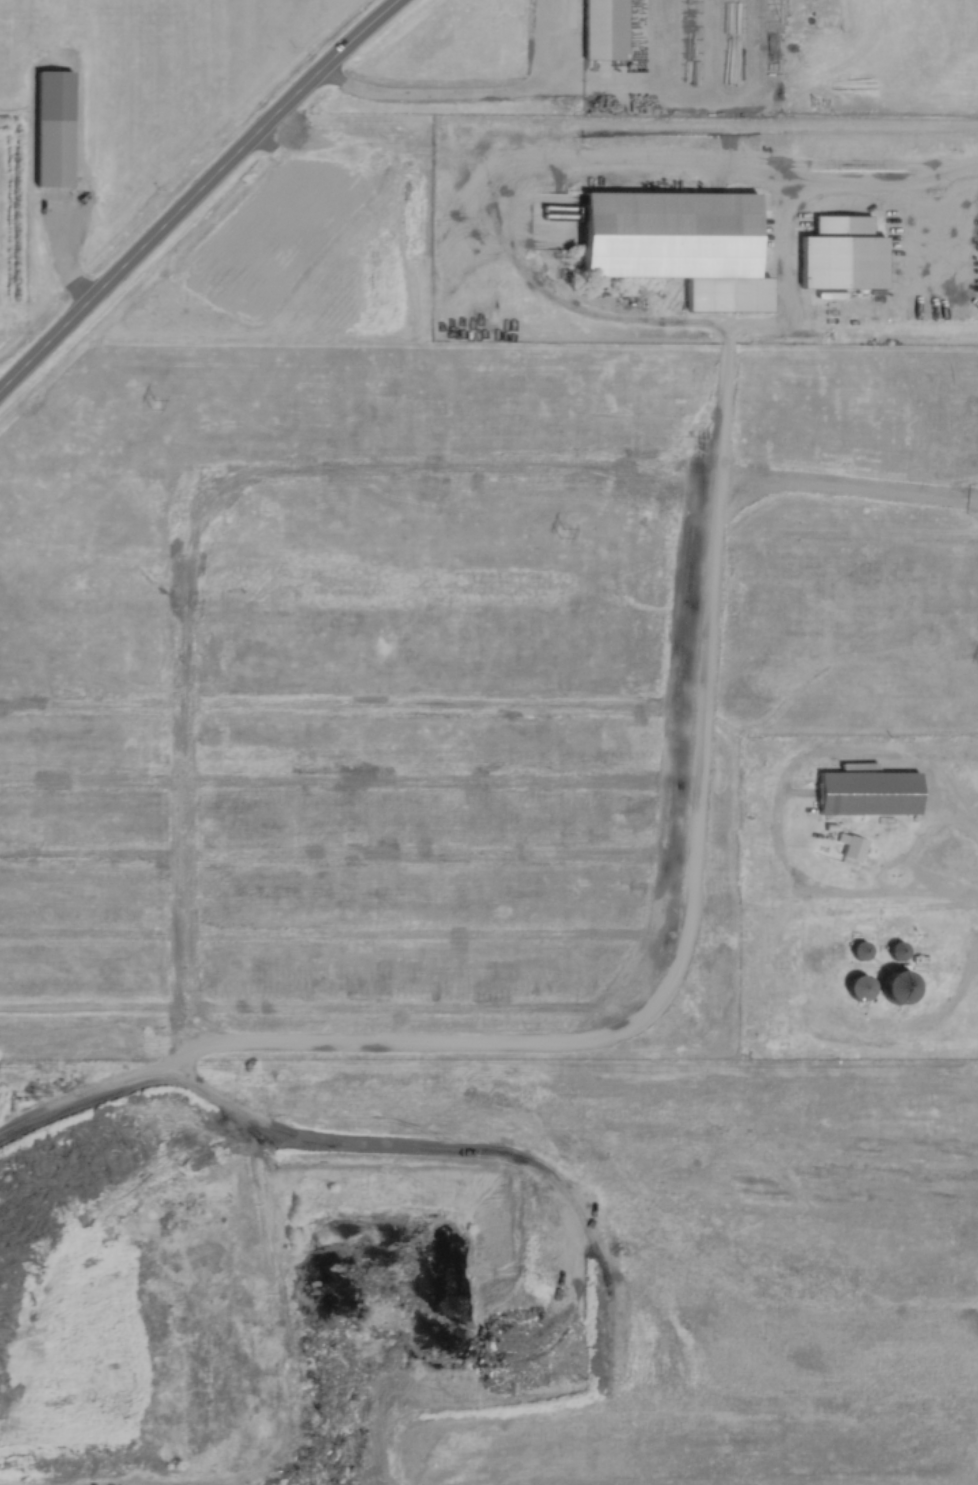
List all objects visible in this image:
building: (602, 29)
road: (588, 82)
building: (51, 129)
road: (693, 162)
road: (200, 196)
building: (676, 245)
building: (838, 255)
power tower: (152, 404)
power tower: (560, 533)
building: (862, 793)
building: (894, 950)
building: (859, 952)
building: (854, 987)
building: (890, 987)
road: (659, 1010)

